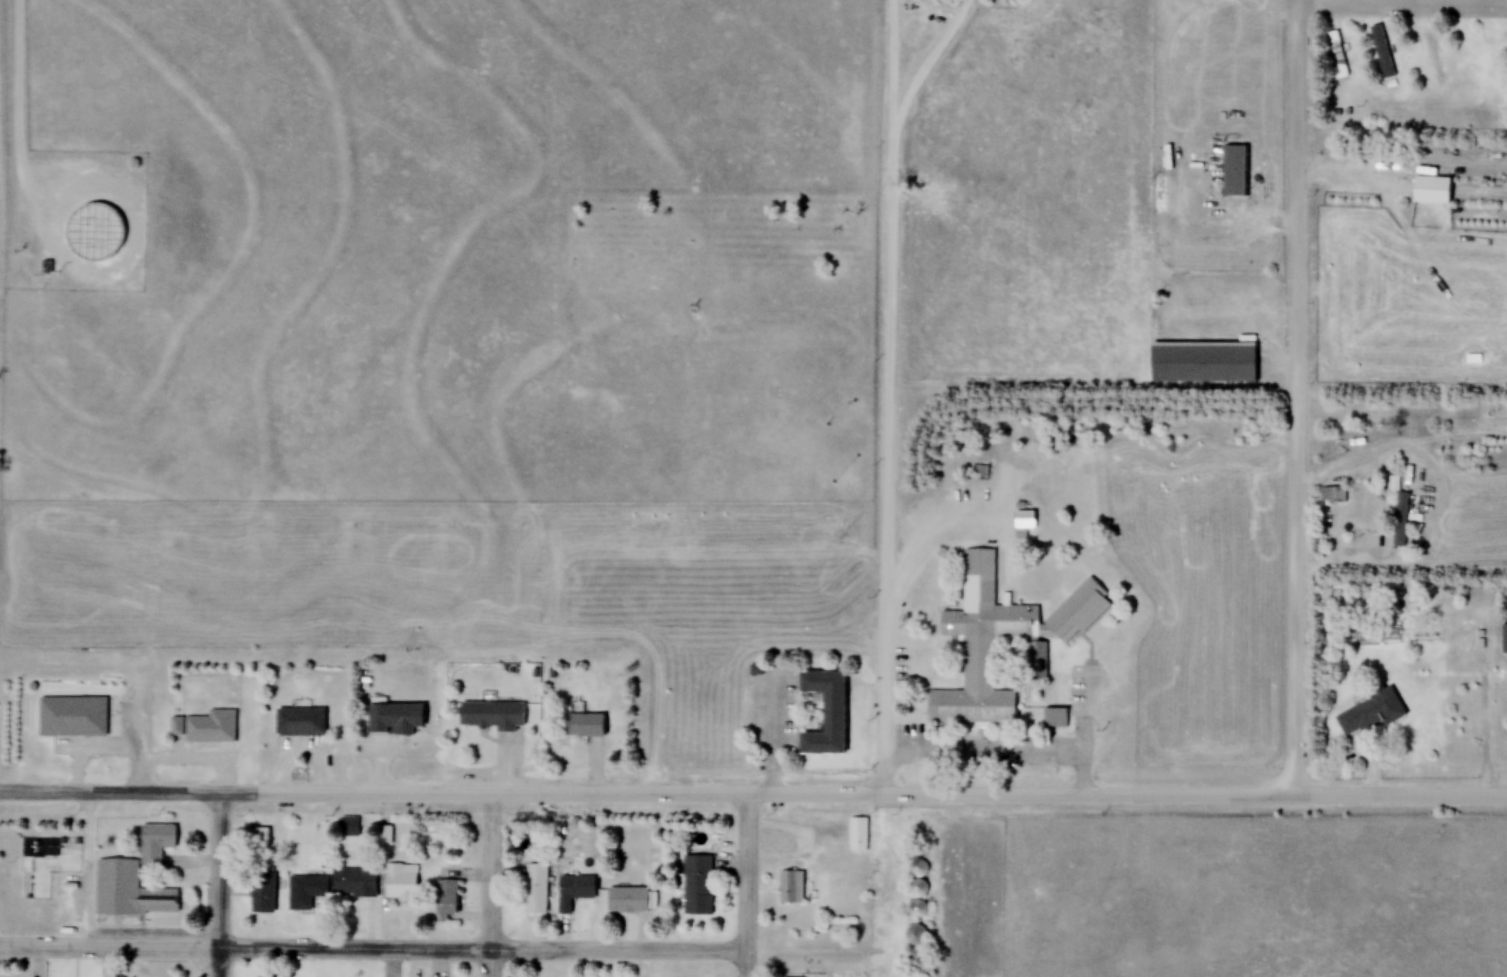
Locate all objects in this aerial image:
road: (1401, 2)
building: (1380, 51)
building: (1428, 52)
building: (1334, 54)
road: (926, 66)
road: (890, 67)
road: (16, 80)
road: (1294, 169)
building: (1237, 170)
building: (96, 232)
road: (36, 254)
building: (1205, 362)
road: (883, 465)
building: (979, 474)
building: (1332, 494)
building: (1398, 513)
road: (927, 537)
road: (1399, 565)
road: (1292, 566)
building: (1001, 639)
building: (1503, 642)
road: (646, 664)
building: (829, 713)
building: (1369, 713)
building: (493, 714)
building: (399, 717)
building: (1054, 717)
building: (301, 722)
building: (589, 724)
building: (205, 726)
road: (644, 793)
road: (1397, 795)
building: (858, 834)
building: (259, 836)
building: (157, 842)
road: (86, 869)
building: (356, 882)
building: (402, 882)
building: (698, 884)
road: (216, 885)
road: (486, 885)
road: (743, 885)
building: (791, 886)
building: (917, 888)
building: (535, 889)
building: (574, 890)
building: (131, 891)
building: (307, 891)
building: (265, 892)
building: (448, 897)
building: (628, 900)
building: (917, 932)
road: (371, 950)
building: (920, 963)

